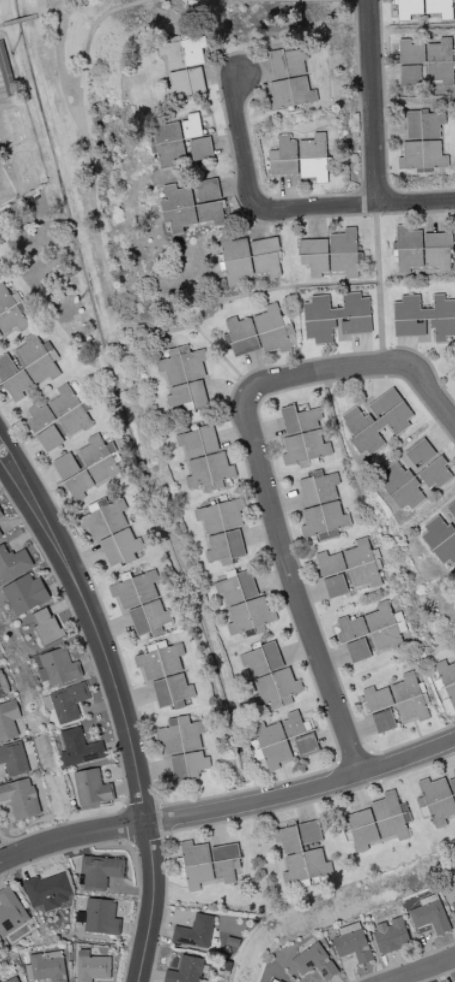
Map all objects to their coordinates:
road: (309, 0)
building: (439, 8)
building: (408, 9)
road: (85, 47)
building: (430, 58)
building: (184, 65)
building: (409, 75)
building: (290, 79)
building: (1, 91)
road: (372, 101)
building: (191, 126)
building: (422, 142)
building: (168, 144)
building: (200, 148)
road: (243, 155)
building: (300, 157)
road: (369, 203)
building: (191, 205)
road: (97, 236)
building: (422, 250)
building: (330, 254)
building: (249, 258)
road: (377, 284)
road: (277, 285)
building: (10, 312)
building: (336, 317)
building: (424, 317)
building: (273, 329)
building: (240, 336)
road: (382, 365)
building: (27, 366)
building: (184, 378)
building: (70, 411)
building: (39, 418)
building: (376, 422)
building: (302, 437)
building: (49, 438)
building: (204, 459)
building: (427, 464)
building: (65, 466)
building: (93, 467)
building: (401, 487)
building: (318, 488)
building: (451, 509)
building: (1, 514)
building: (323, 521)
building: (110, 531)
building: (222, 531)
building: (0, 535)
building: (440, 541)
building: (13, 562)
road: (73, 562)
building: (329, 563)
building: (361, 564)
road: (290, 569)
road: (68, 586)
building: (334, 586)
building: (134, 590)
building: (24, 594)
building: (244, 605)
building: (148, 618)
building: (46, 626)
building: (350, 628)
building: (357, 650)
building: (57, 668)
building: (166, 672)
building: (270, 677)
building: (447, 680)
building: (2, 689)
building: (161, 693)
building: (377, 698)
building: (409, 698)
building: (65, 702)
building: (8, 719)
building: (383, 721)
building: (292, 724)
building: (271, 744)
building: (305, 745)
building: (183, 747)
building: (77, 748)
building: (13, 759)
building: (452, 786)
building: (91, 787)
building: (20, 798)
building: (437, 801)
road: (229, 809)
building: (390, 816)
building: (361, 829)
building: (309, 832)
road: (150, 844)
building: (299, 857)
building: (209, 864)
building: (100, 871)
building: (47, 891)
building: (453, 907)
building: (10, 912)
building: (429, 915)
building: (99, 917)
building: (194, 932)
building: (391, 935)
building: (231, 942)
building: (352, 943)
building: (314, 962)
building: (46, 967)
building: (92, 967)
building: (185, 970)
road: (425, 970)
building: (12, 980)
building: (275, 980)

